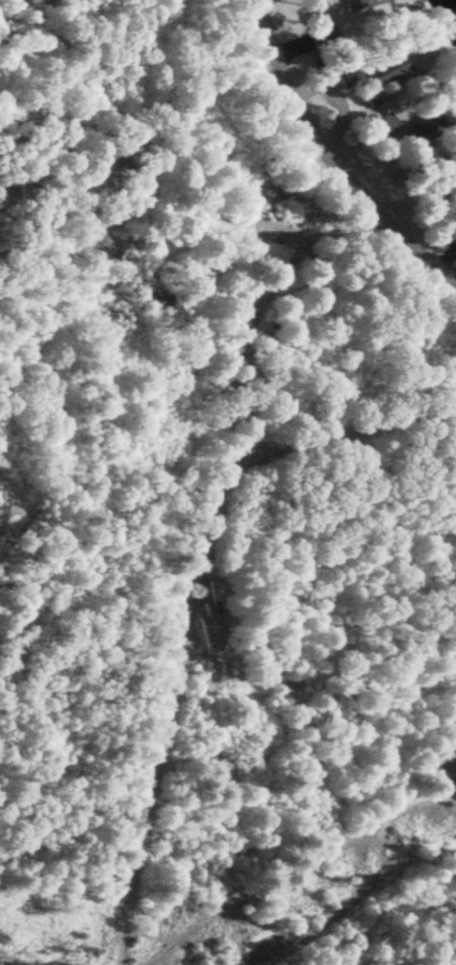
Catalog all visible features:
building: (357, 3)
building: (324, 36)
building: (390, 69)
building: (433, 120)
building: (385, 127)
road: (333, 156)
road: (191, 593)
building: (209, 617)
road: (362, 905)

